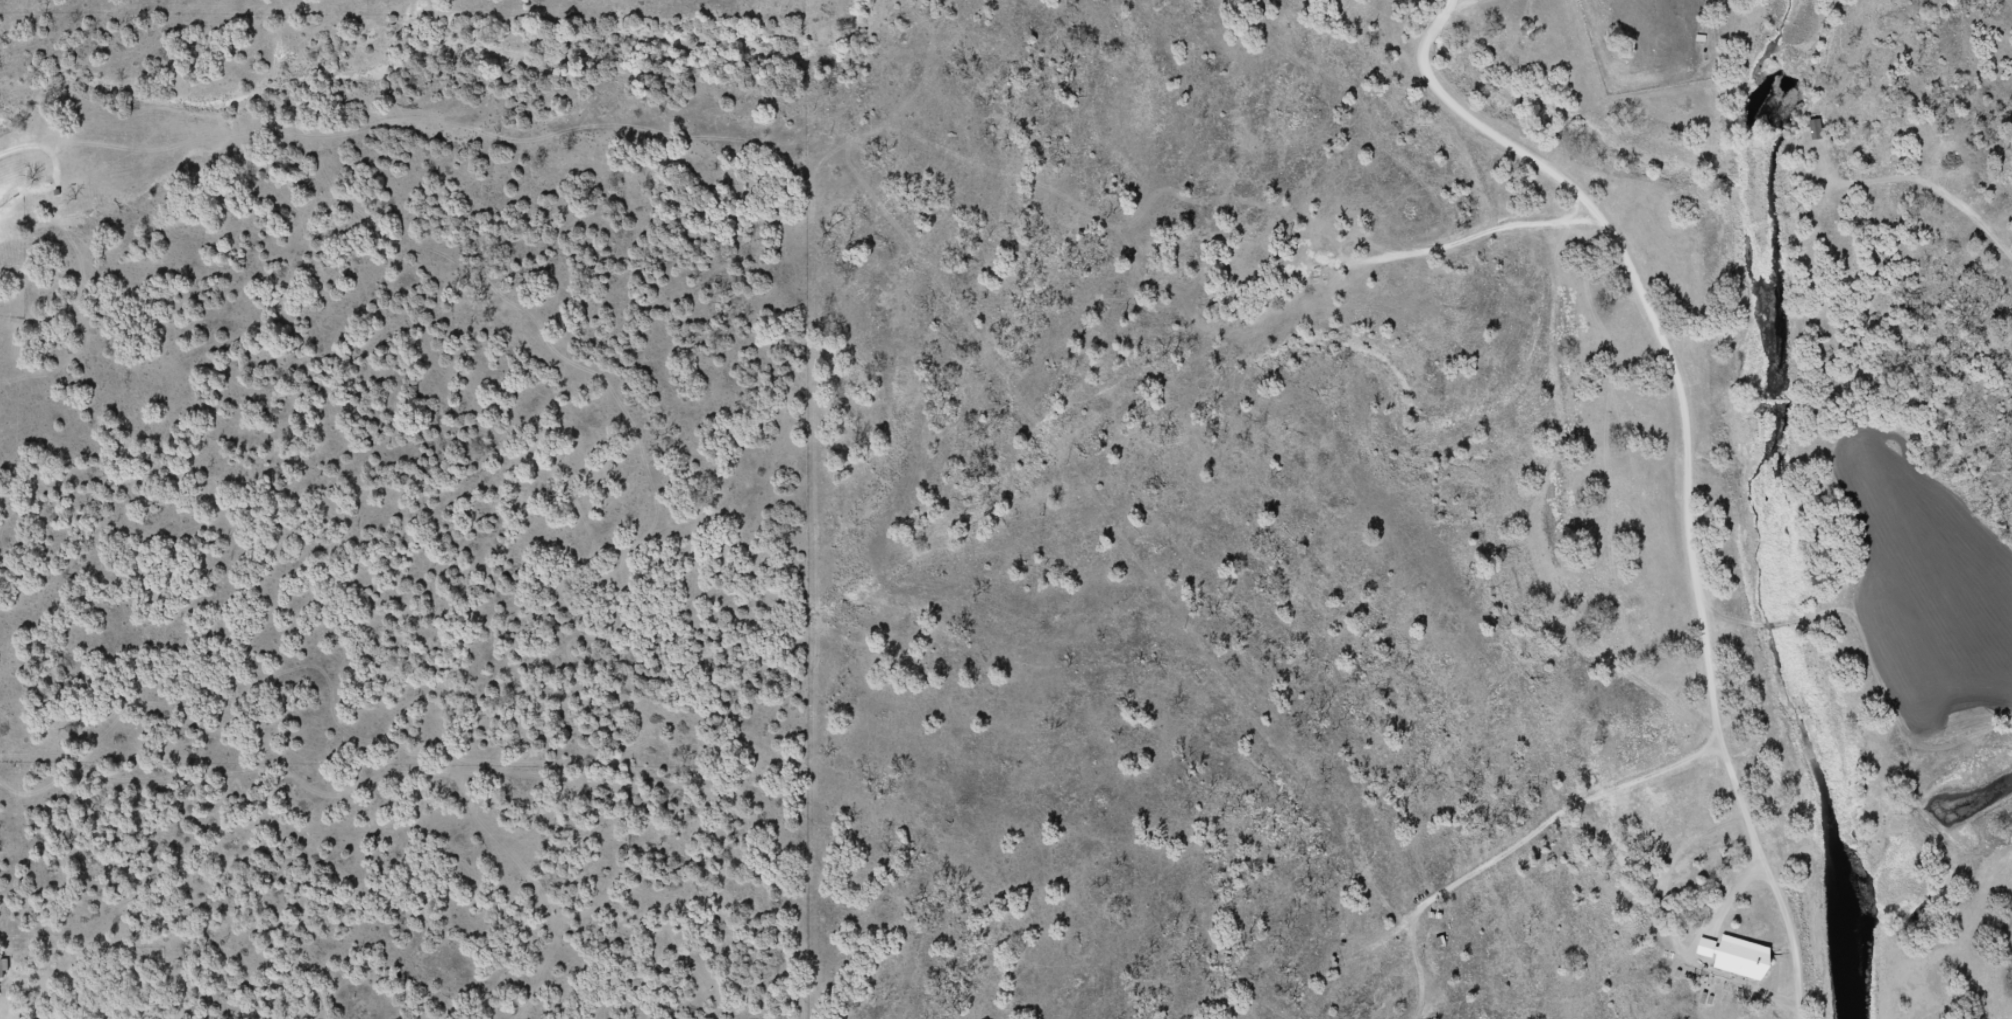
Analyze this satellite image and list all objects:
building: (1816, 130)
road: (10, 907)
building: (1708, 949)
building: (1744, 959)
building: (3, 970)

